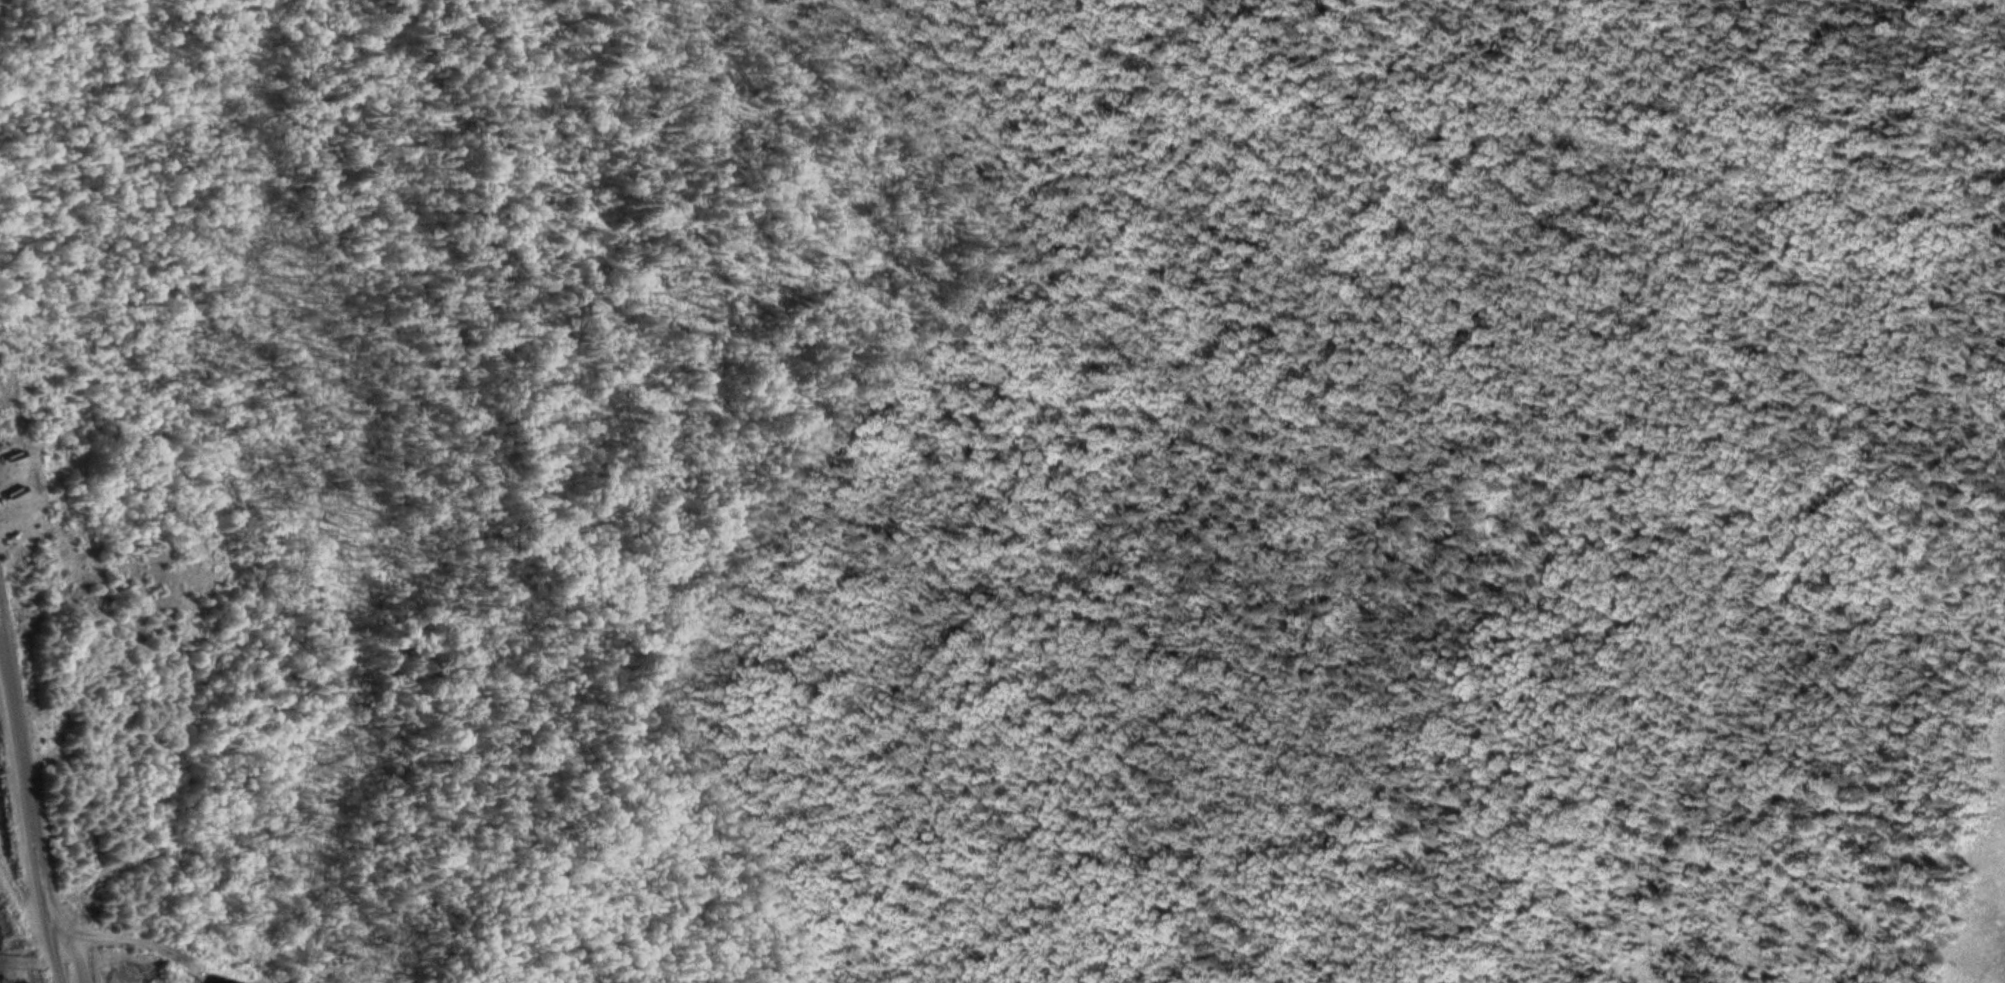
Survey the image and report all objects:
quarry: (261, 687)

